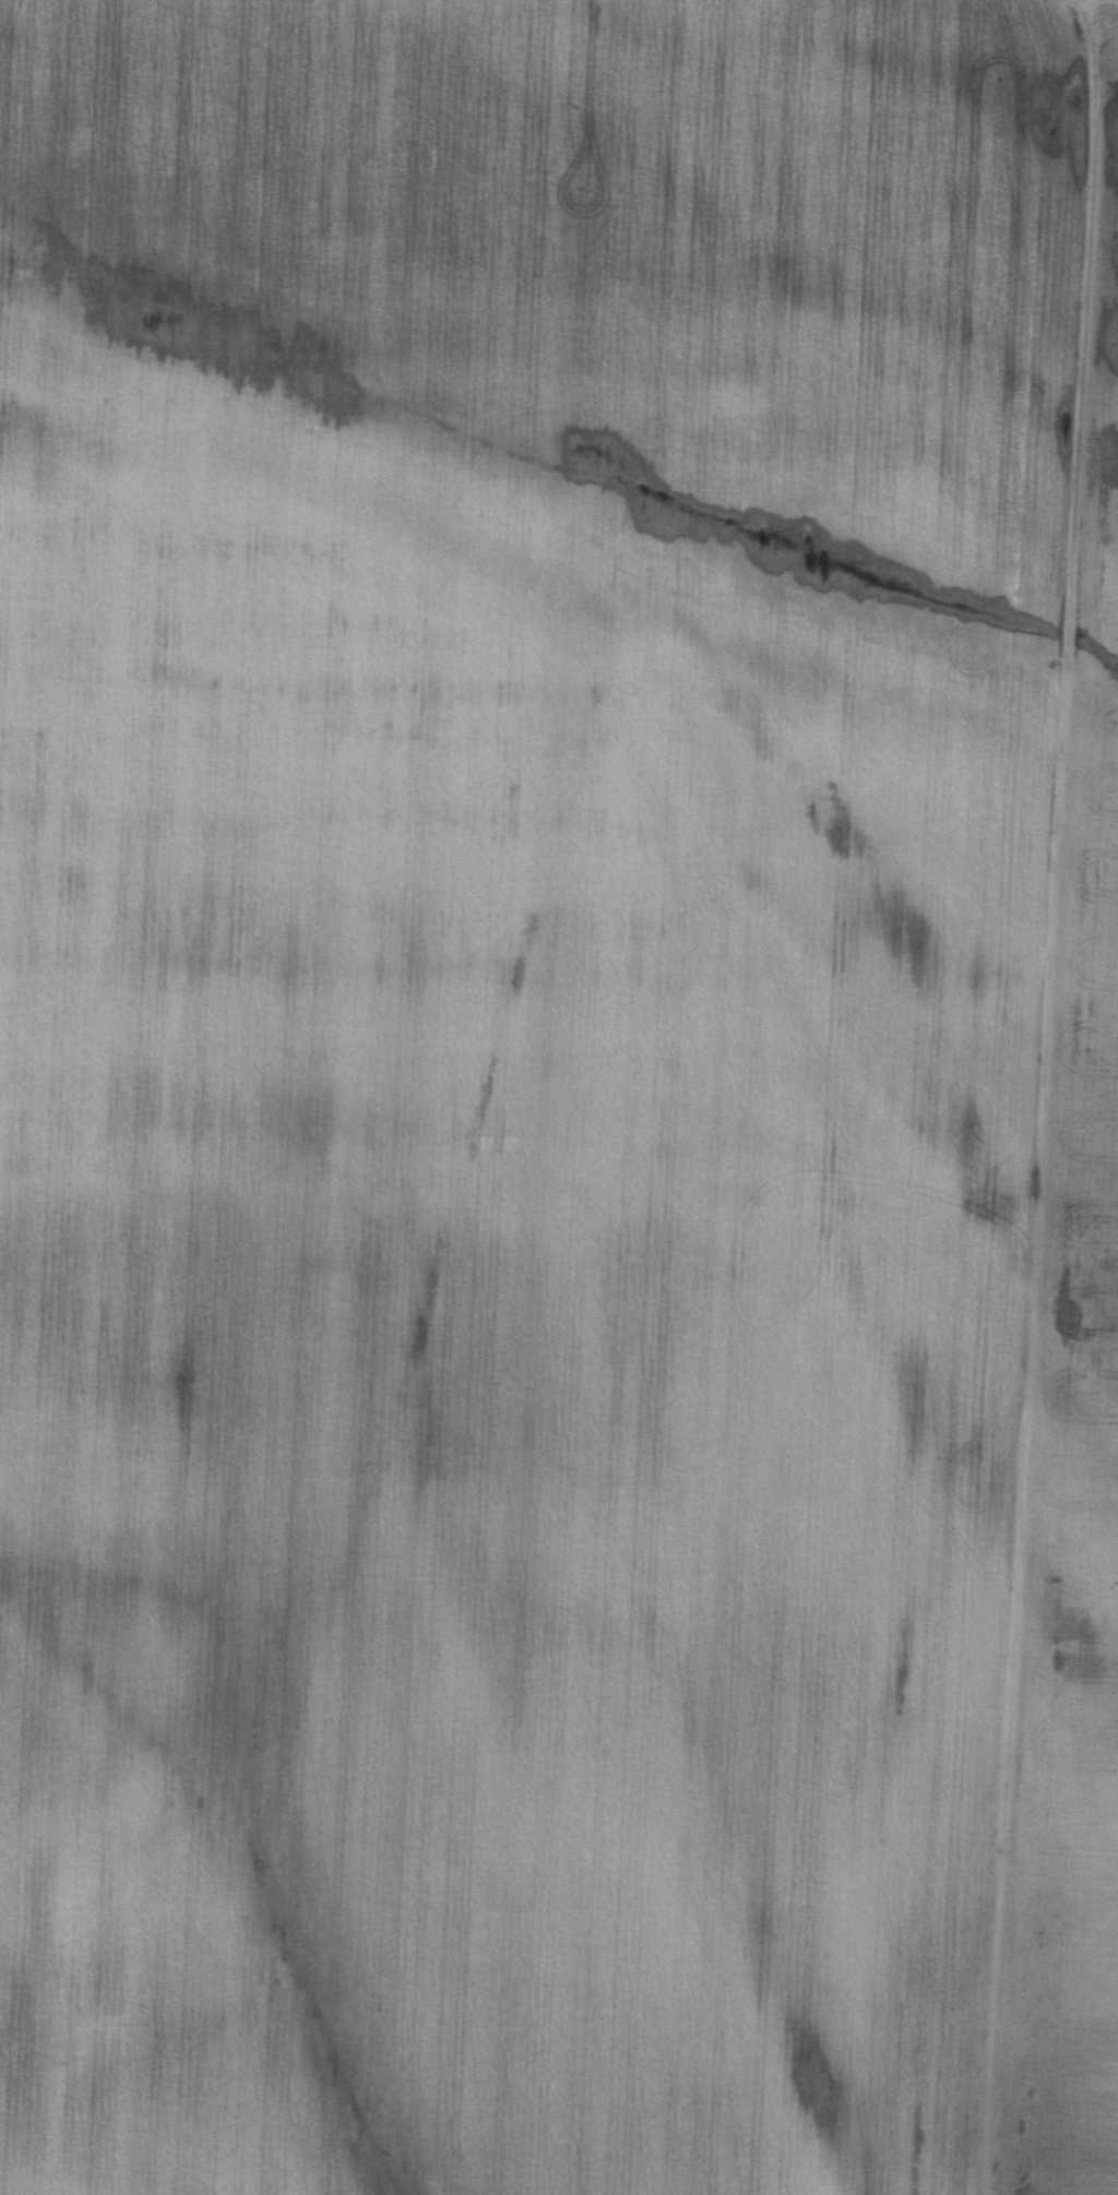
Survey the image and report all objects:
crop: (519, 1076)
crop: (1078, 1443)

